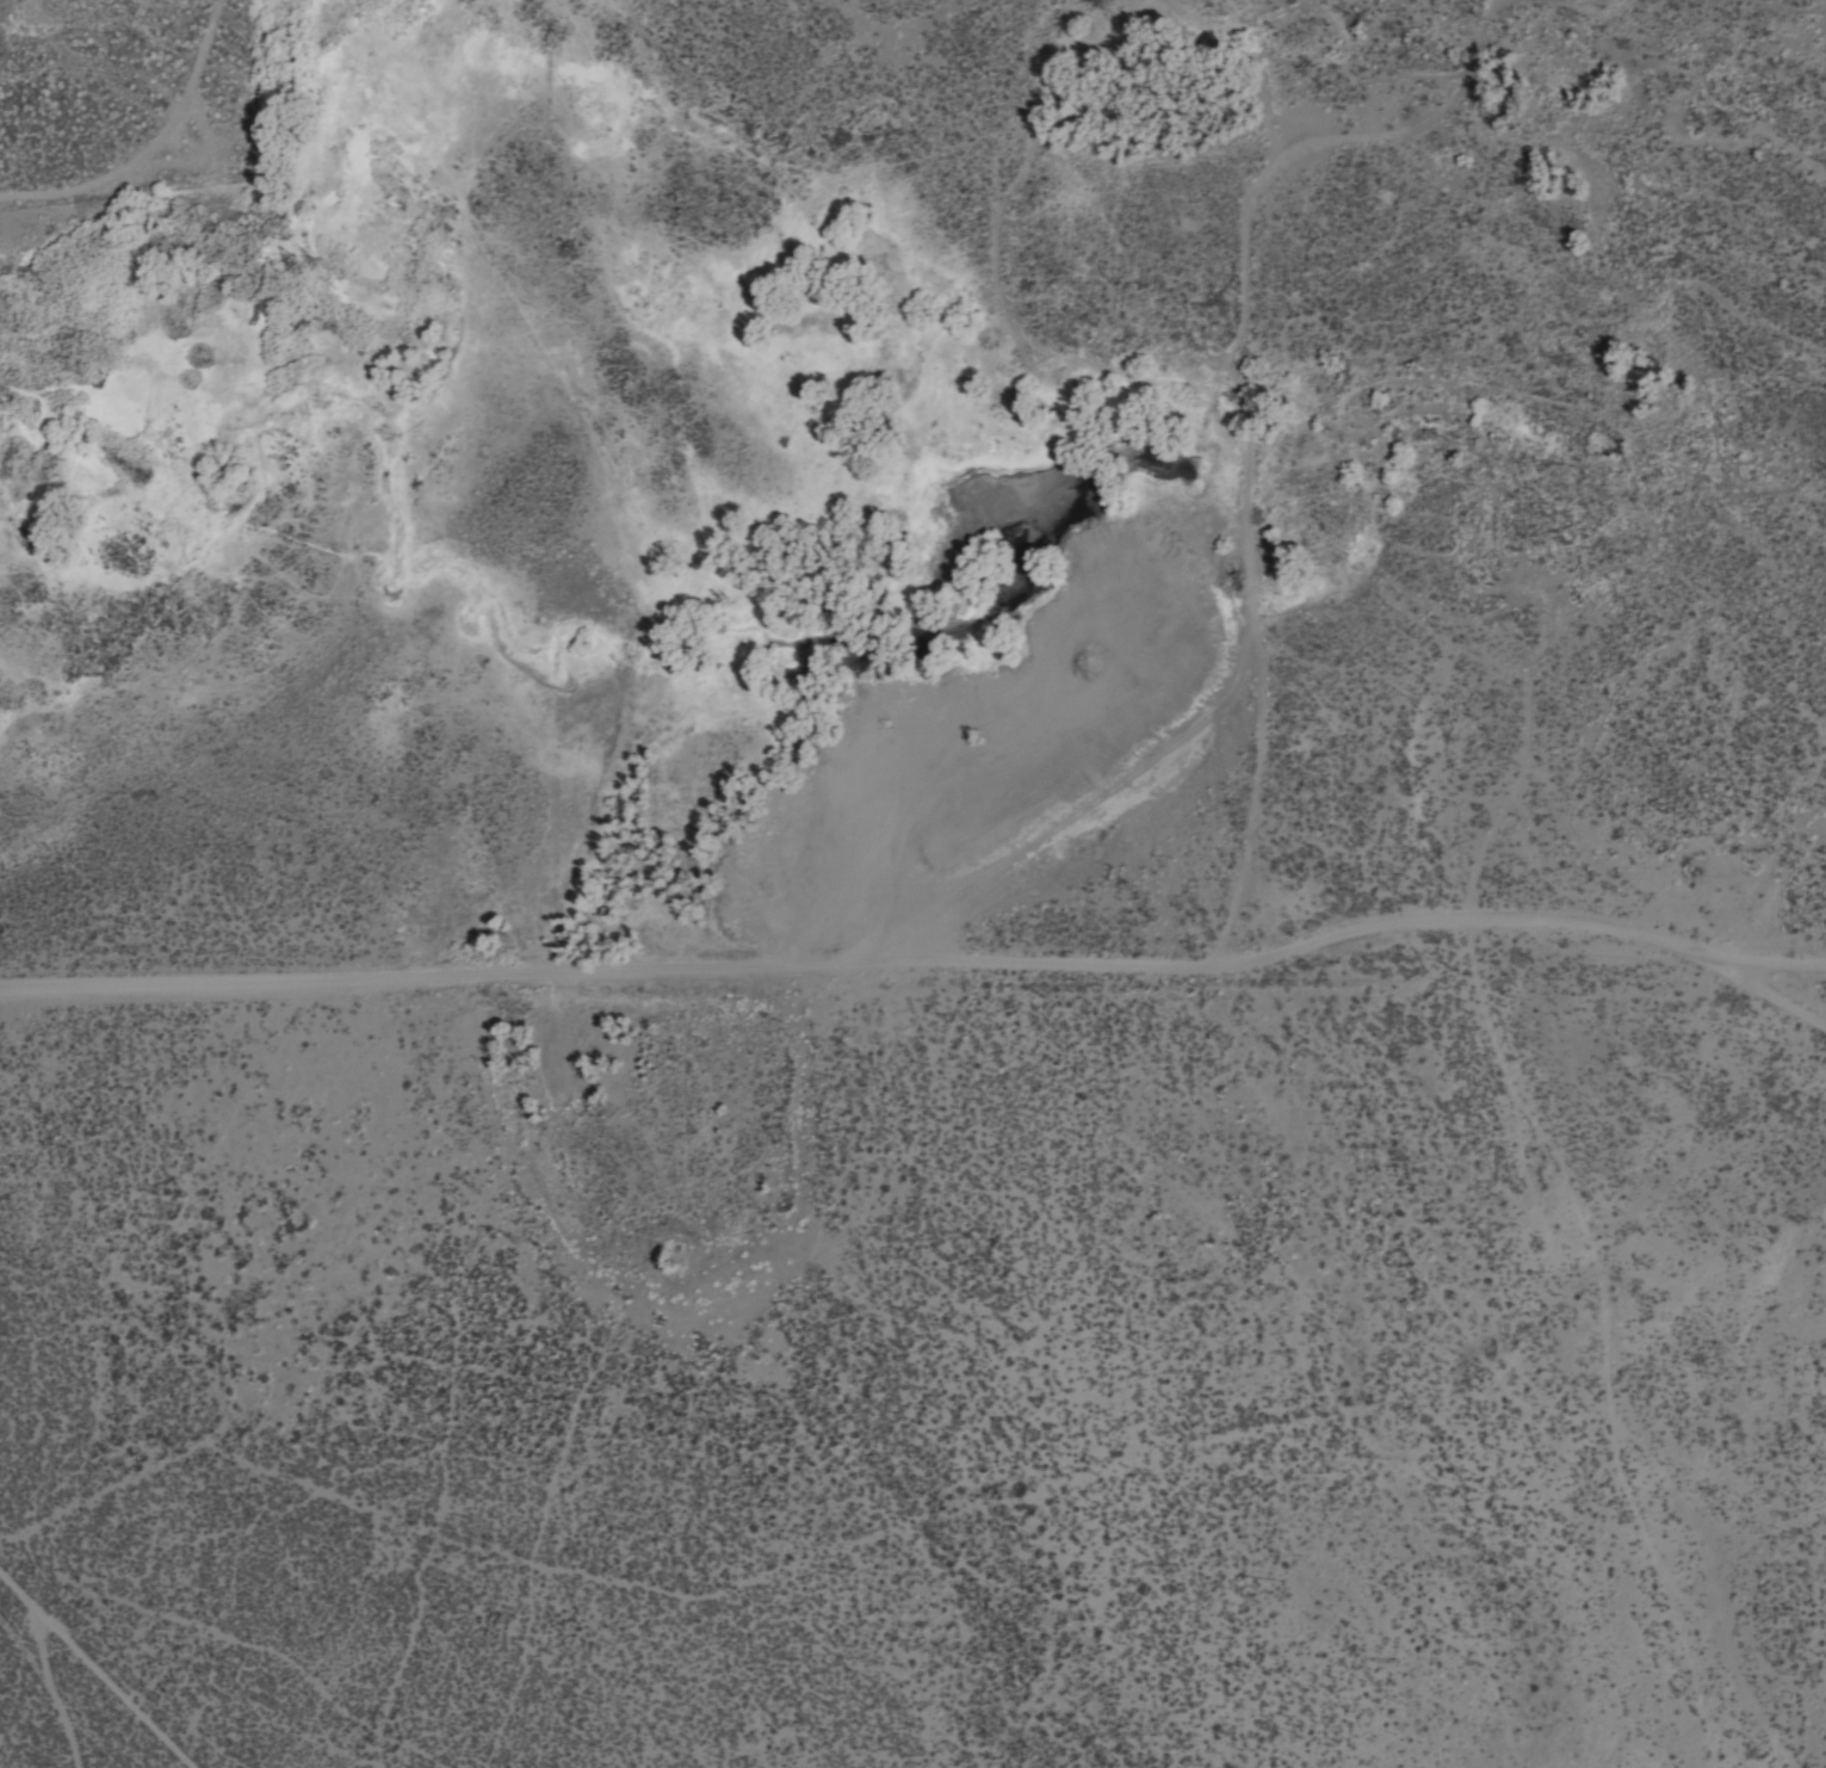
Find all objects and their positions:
road: (1321, 144)
road: (1262, 663)
road: (1085, 797)
road: (920, 964)
road: (1787, 994)
road: (38, 1633)
road: (104, 1664)
road: (49, 1687)

